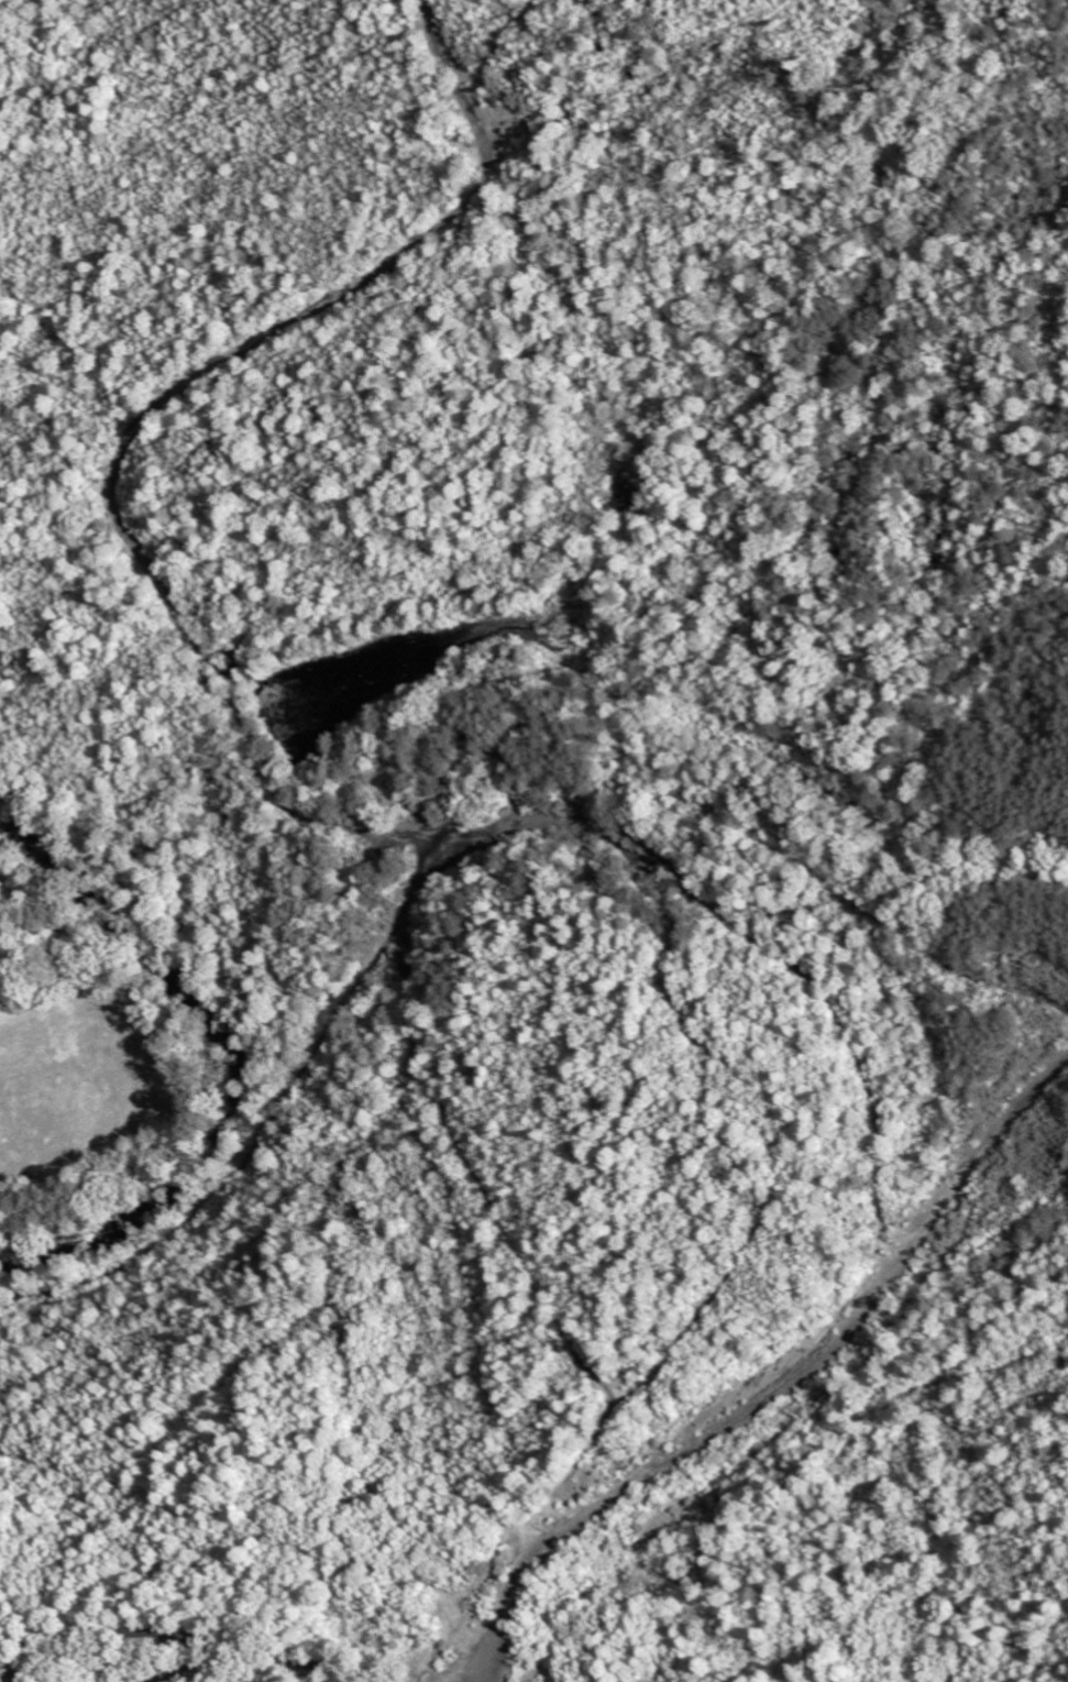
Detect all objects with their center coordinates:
river: (209, 1041)
road: (187, 1648)
road: (183, 1667)

